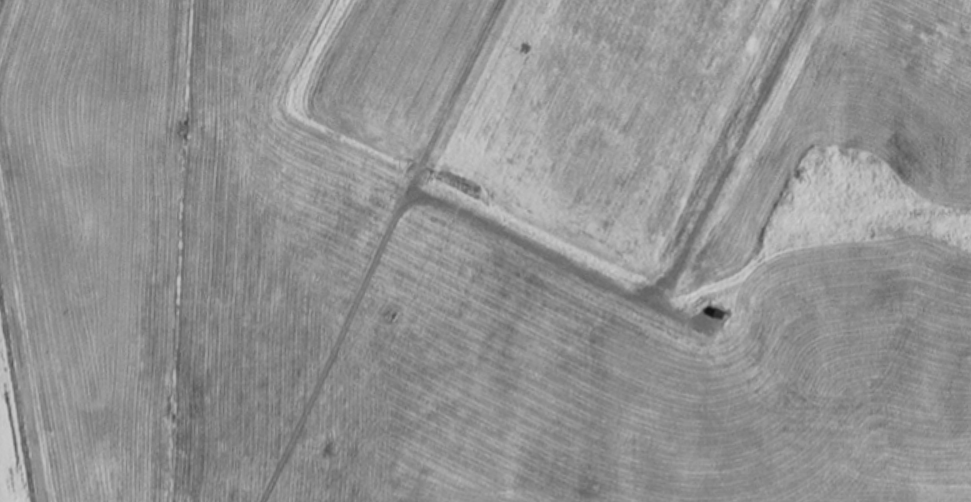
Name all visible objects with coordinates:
road: (4, 14)
road: (380, 250)
airport: (485, 251)
road: (675, 274)
building: (718, 311)
road: (679, 316)
road: (22, 368)

